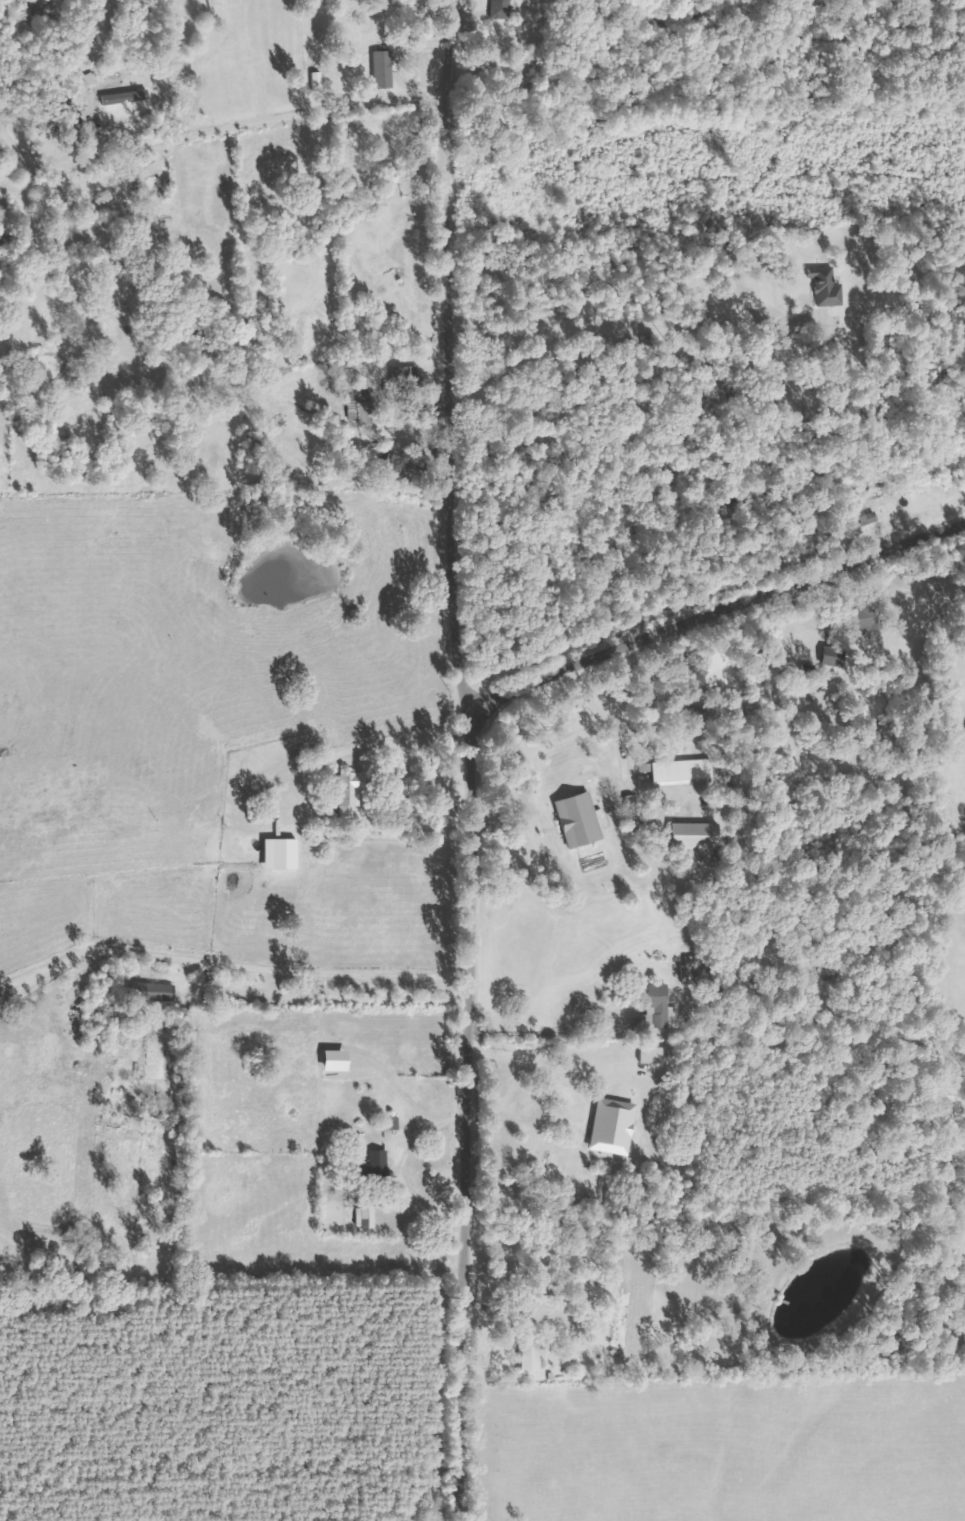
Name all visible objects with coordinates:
building: (504, 9)
building: (386, 70)
building: (320, 81)
road: (258, 119)
building: (830, 287)
road: (447, 353)
building: (405, 382)
building: (361, 404)
road: (714, 611)
building: (836, 656)
building: (685, 772)
building: (354, 793)
building: (635, 814)
building: (582, 820)
building: (701, 840)
building: (695, 971)
building: (156, 991)
building: (665, 1007)
building: (656, 1055)
road: (466, 1112)
building: (616, 1127)
building: (382, 1161)
building: (369, 1216)
building: (533, 1356)

